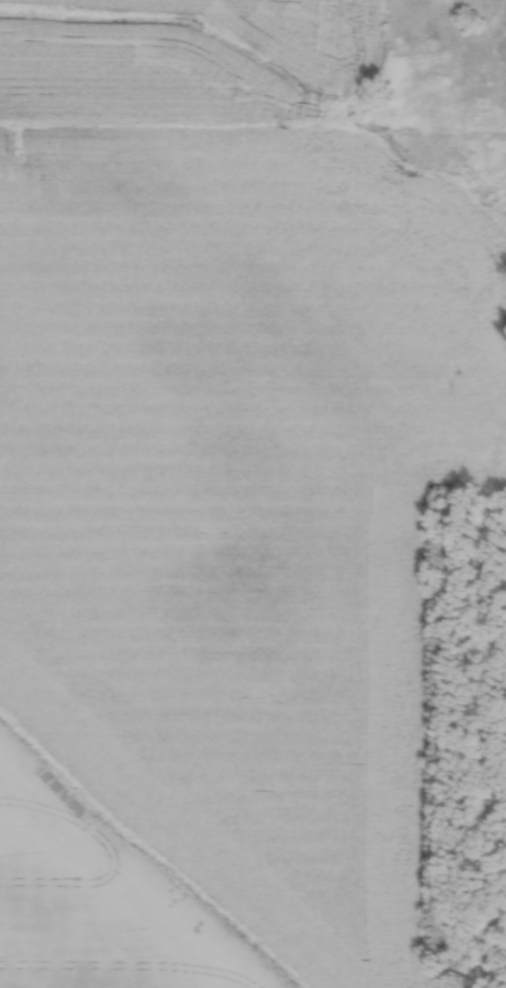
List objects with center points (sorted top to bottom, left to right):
power tower: (18, 151)
power tower: (405, 153)

